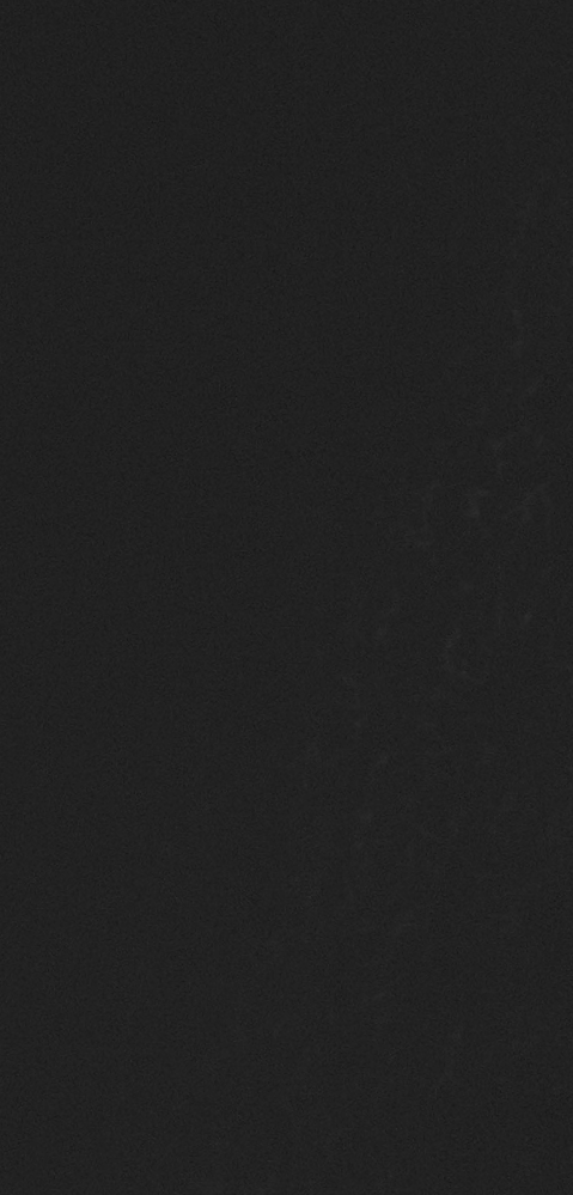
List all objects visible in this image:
river: (197, 597)

